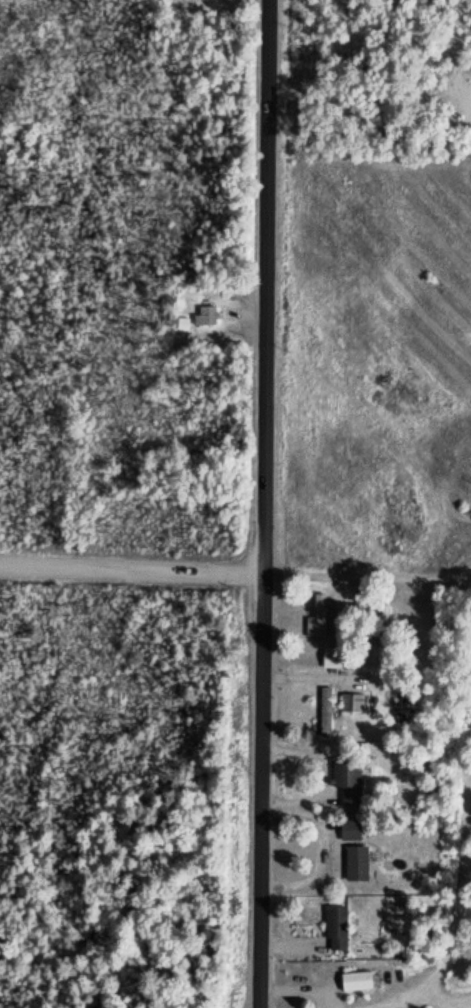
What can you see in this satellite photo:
building: (209, 315)
road: (261, 503)
road: (130, 567)
road: (366, 579)
building: (315, 618)
building: (355, 624)
building: (381, 626)
building: (329, 658)
building: (349, 702)
building: (321, 715)
building: (345, 779)
building: (347, 830)
building: (353, 864)
road: (458, 907)
building: (333, 929)
building: (351, 982)

